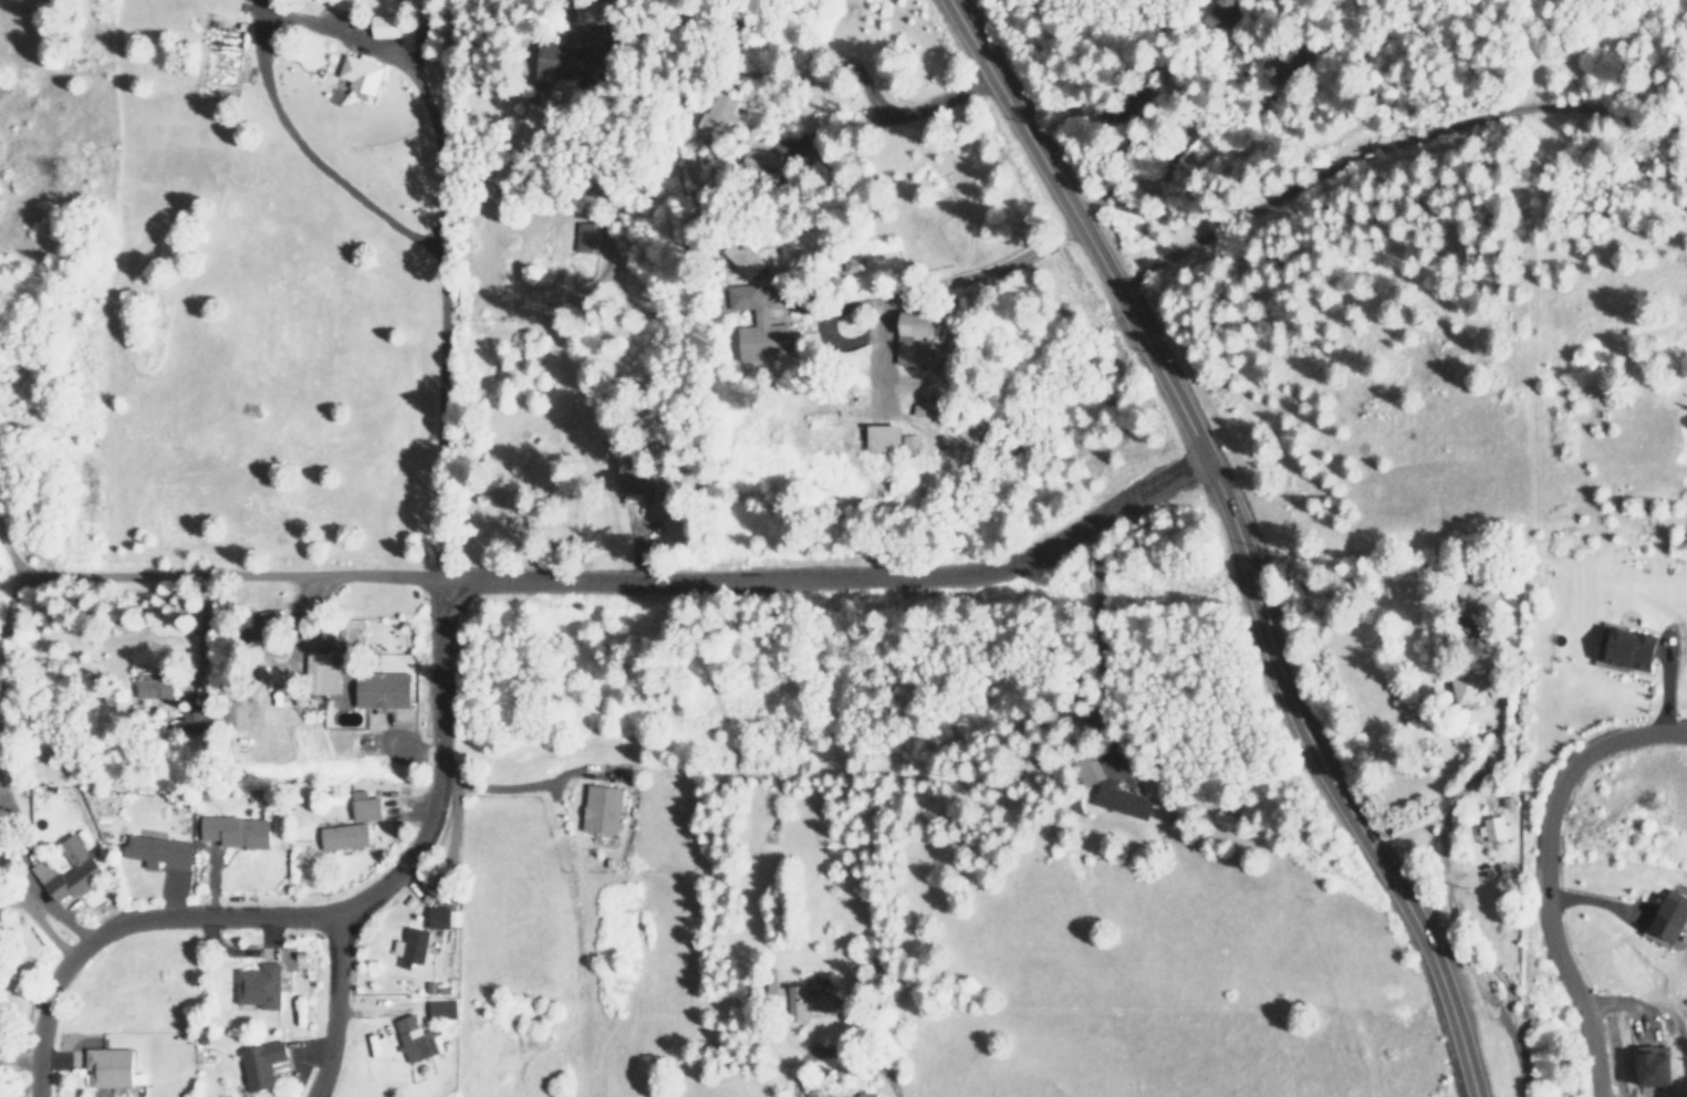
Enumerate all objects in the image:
building: (385, 25)
road: (767, 28)
building: (554, 62)
building: (362, 73)
building: (716, 113)
road: (877, 121)
building: (760, 157)
road: (1392, 157)
building: (587, 237)
building: (748, 258)
building: (761, 331)
building: (915, 338)
building: (884, 438)
building: (632, 471)
road: (1236, 541)
road: (583, 579)
building: (1632, 649)
building: (321, 675)
road: (1664, 682)
building: (155, 688)
building: (1468, 688)
building: (382, 689)
building: (195, 721)
road: (438, 769)
building: (1123, 800)
building: (365, 806)
building: (602, 808)
building: (1495, 829)
building: (237, 832)
building: (344, 836)
building: (159, 852)
building: (66, 870)
road: (1548, 870)
road: (28, 877)
road: (1594, 900)
road: (215, 915)
building: (441, 917)
building: (1672, 917)
road: (1454, 920)
building: (412, 947)
building: (259, 986)
building: (442, 1009)
building: (414, 1039)
road: (866, 1056)
building: (261, 1065)
building: (1655, 1066)
building: (110, 1067)
building: (866, 1094)

